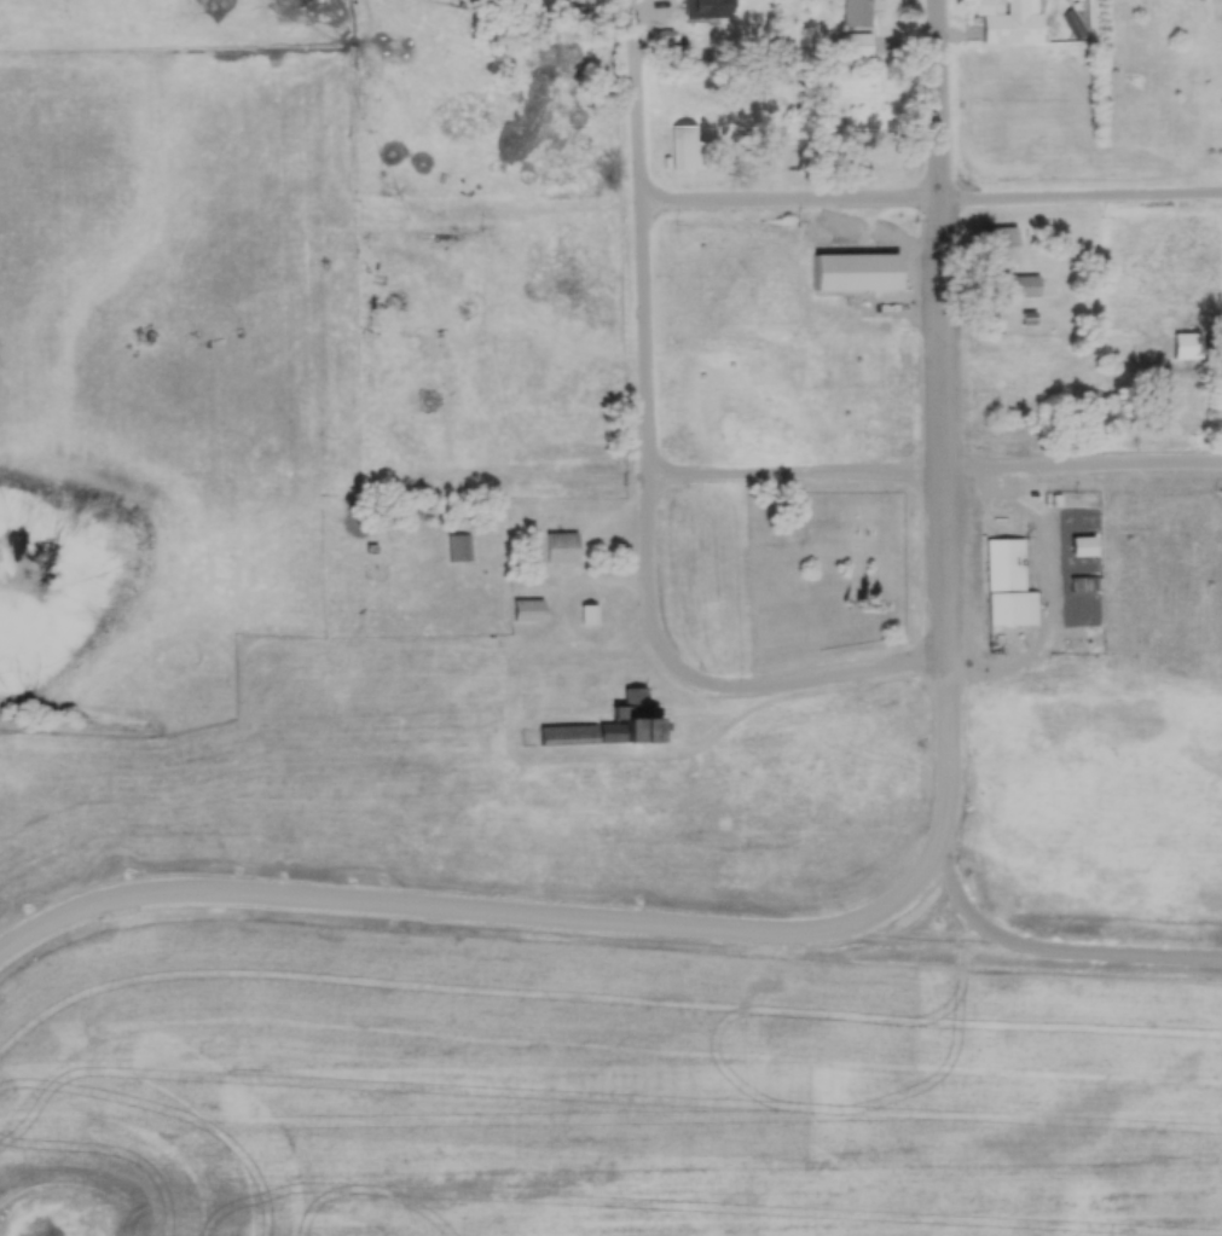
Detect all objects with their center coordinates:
building: (701, 10)
building: (856, 12)
building: (1006, 21)
building: (1077, 30)
building: (660, 35)
building: (857, 43)
road: (937, 101)
building: (687, 150)
building: (857, 166)
road: (1081, 202)
road: (789, 210)
building: (995, 242)
building: (845, 271)
building: (399, 301)
road: (945, 429)
road: (933, 472)
road: (645, 478)
building: (458, 547)
building: (561, 547)
building: (1004, 584)
building: (527, 610)
building: (587, 614)
building: (579, 735)
road: (571, 915)
road: (915, 939)
road: (1047, 946)

